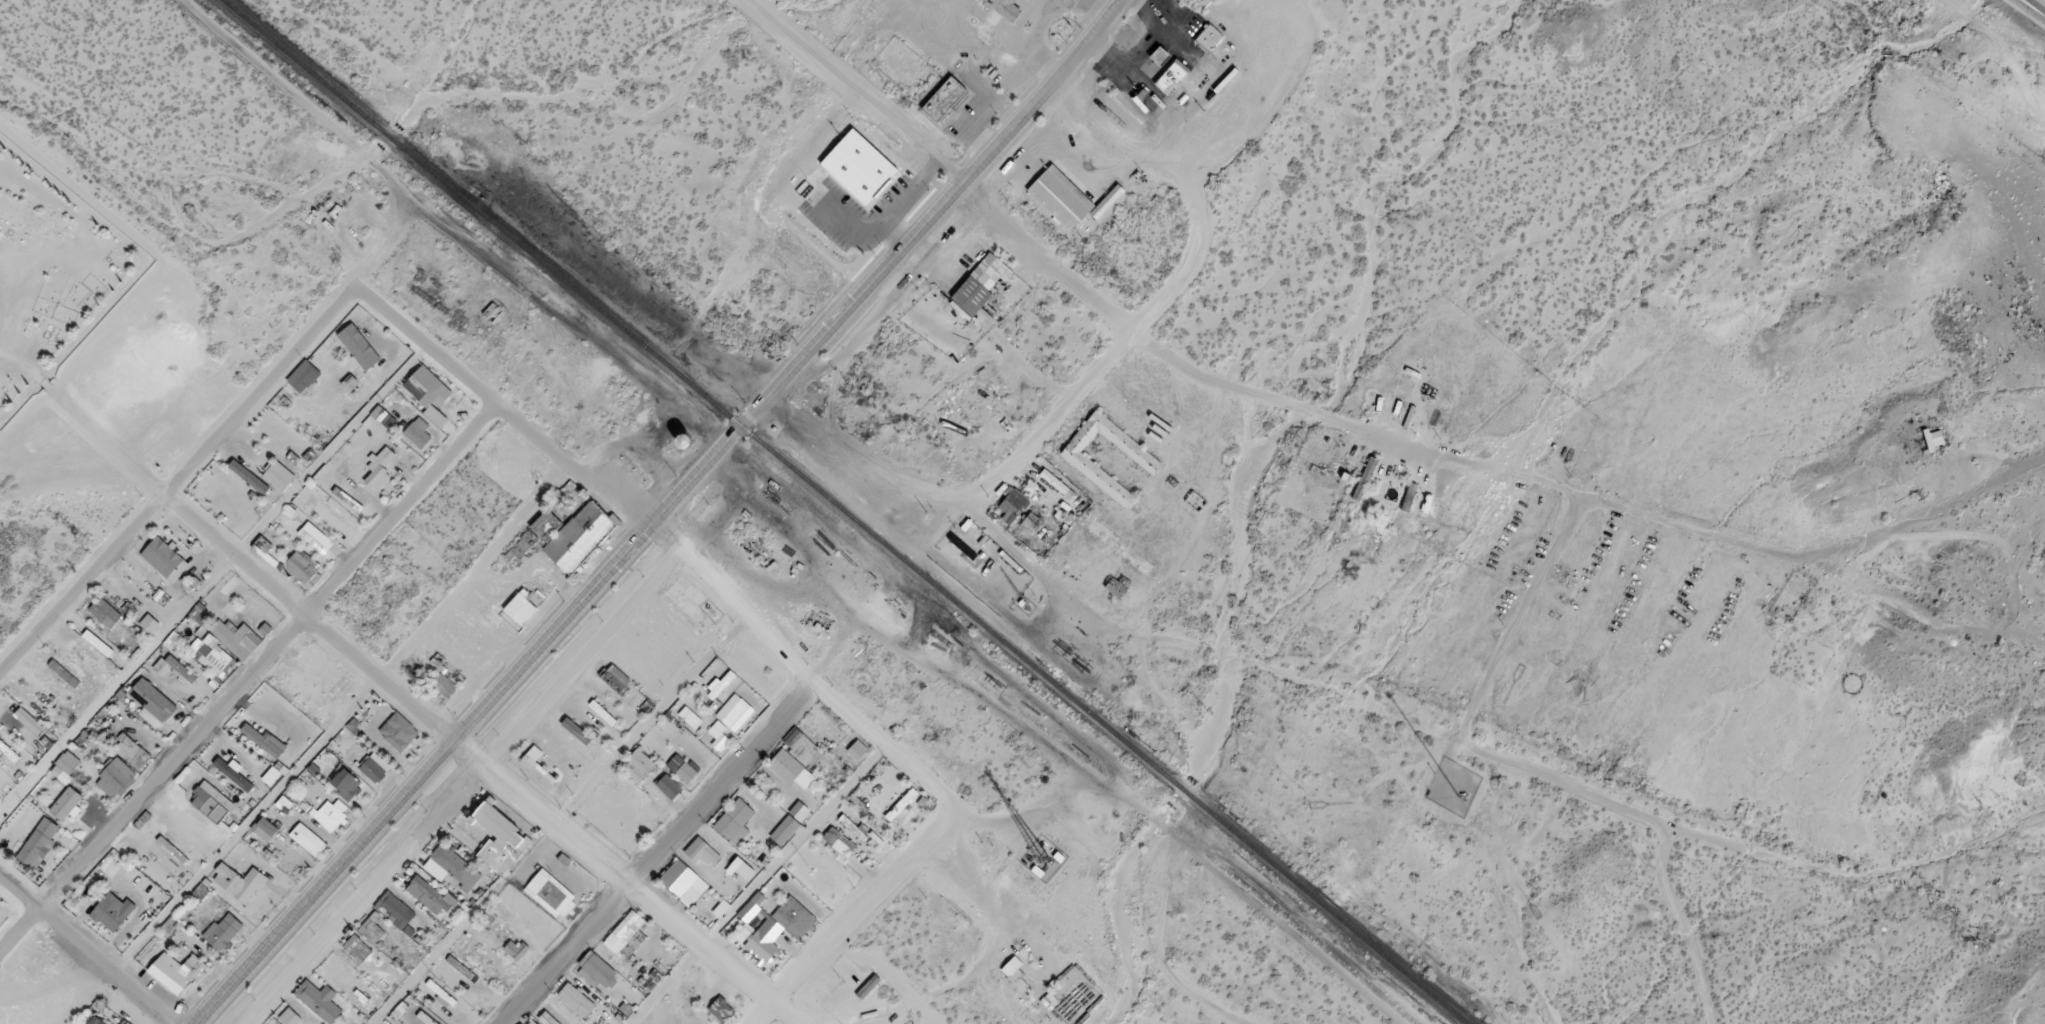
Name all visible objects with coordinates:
road: (2038, 4)
building: (998, 12)
road: (2026, 13)
building: (1208, 36)
building: (1203, 46)
building: (1153, 62)
gas station: (1153, 62)
road: (272, 77)
building: (1165, 86)
road: (854, 93)
building: (938, 106)
road: (1139, 139)
building: (853, 173)
building: (1055, 204)
road: (382, 249)
park: (52, 279)
building: (974, 291)
road: (540, 303)
building: (491, 307)
building: (360, 342)
road: (1091, 370)
road: (1243, 391)
building: (431, 407)
road: (498, 409)
building: (418, 431)
building: (1934, 436)
building: (379, 467)
building: (1069, 467)
building: (244, 473)
building: (278, 475)
road: (175, 480)
road: (941, 498)
building: (347, 499)
railway: (659, 512)
railway: (841, 513)
road: (658, 514)
building: (327, 516)
building: (315, 537)
building: (567, 541)
building: (264, 556)
building: (165, 558)
building: (302, 565)
road: (244, 567)
road: (212, 583)
building: (105, 610)
building: (514, 614)
building: (150, 621)
building: (98, 640)
building: (86, 654)
building: (212, 656)
building: (181, 666)
building: (65, 671)
road: (803, 678)
road: (246, 679)
building: (444, 683)
building: (153, 696)
building: (735, 713)
road: (343, 722)
building: (22, 725)
road: (1018, 725)
building: (399, 730)
building: (263, 737)
building: (803, 747)
building: (858, 747)
building: (375, 765)
building: (234, 773)
building: (348, 779)
building: (669, 785)
road: (465, 792)
building: (214, 796)
building: (66, 801)
building: (736, 820)
road: (1037, 820)
road: (560, 824)
road: (1558, 827)
building: (833, 832)
building: (39, 839)
building: (492, 844)
building: (701, 851)
road: (653, 853)
building: (745, 868)
building: (238, 879)
road: (627, 881)
building: (683, 881)
road: (758, 886)
road: (980, 886)
building: (429, 893)
building: (544, 901)
building: (112, 909)
building: (780, 925)
road: (843, 926)
building: (224, 928)
building: (620, 936)
building: (359, 942)
road: (87, 954)
building: (461, 967)
building: (177, 971)
building: (442, 991)
building: (319, 998)
building: (721, 1008)
building: (94, 1021)
building: (533, 1022)
building: (127, 1023)

